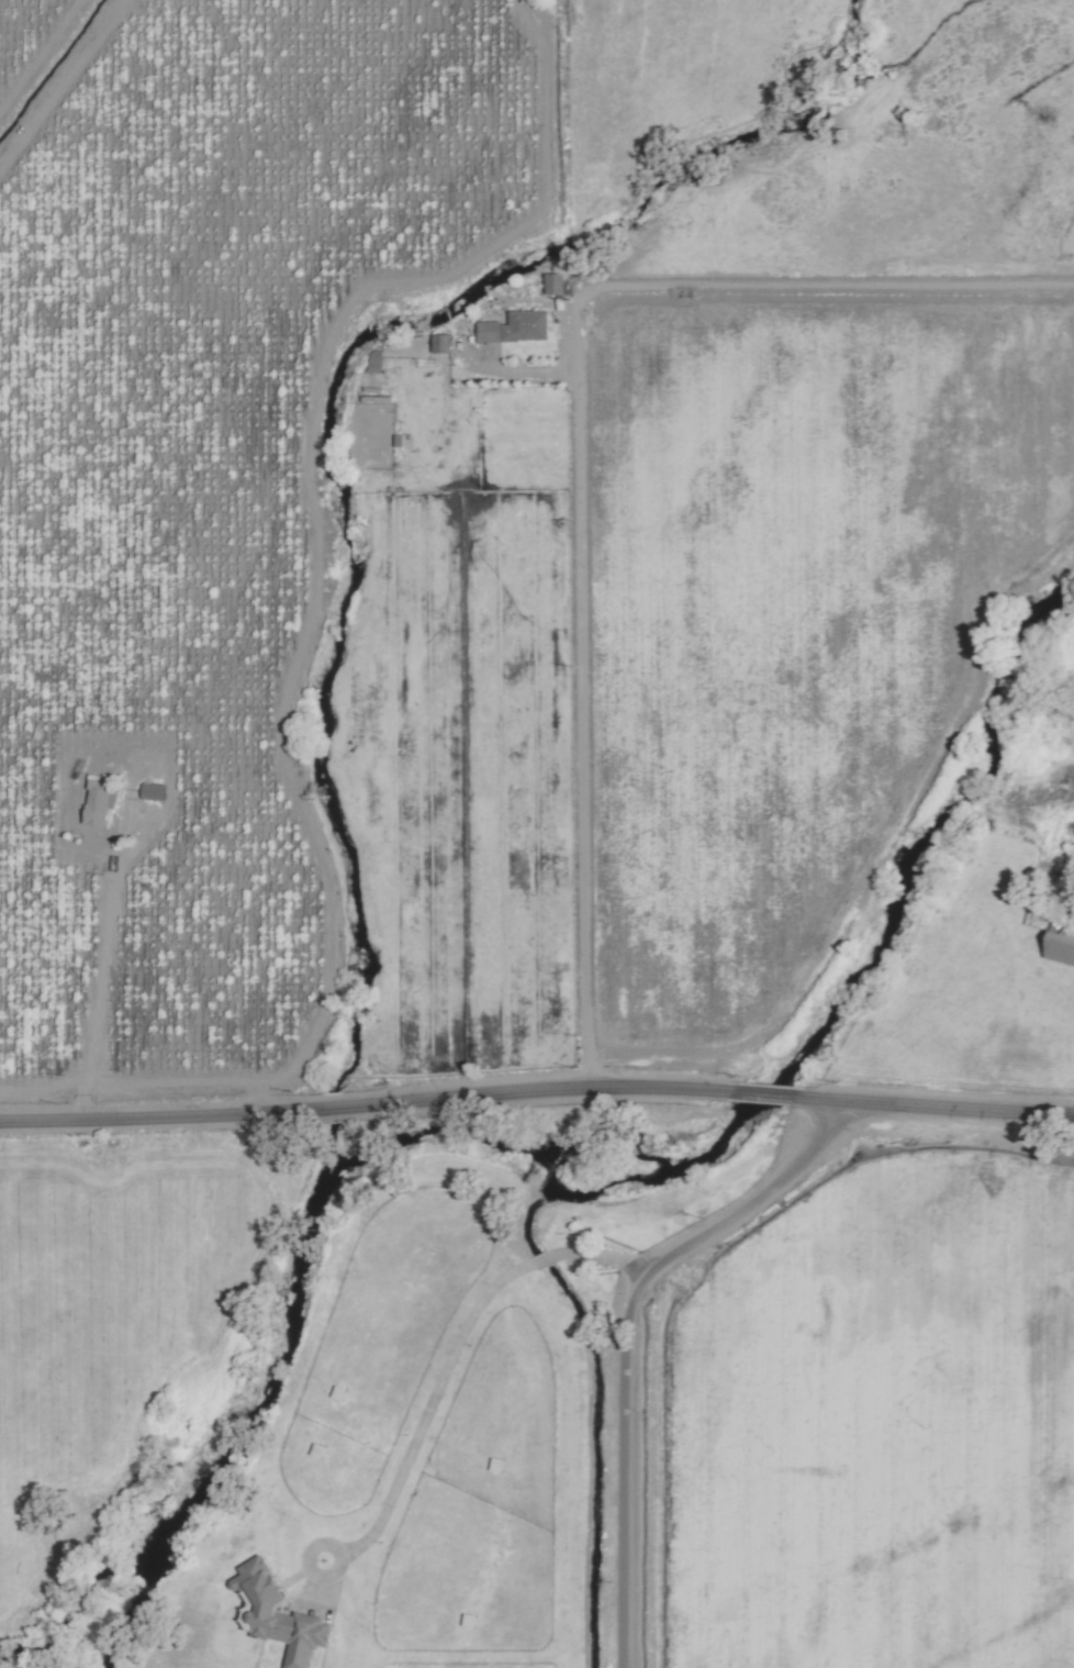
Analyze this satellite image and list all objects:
crop: (667, 80)
crop: (931, 152)
building: (550, 283)
building: (513, 327)
building: (437, 344)
road: (523, 371)
road: (578, 444)
crop: (212, 474)
building: (149, 792)
building: (94, 802)
road: (782, 1097)
road: (357, 1105)
road: (961, 1109)
road: (601, 1255)
road: (542, 1259)
road: (625, 1334)
crop: (152, 1357)
road: (427, 1413)
building: (272, 1615)

